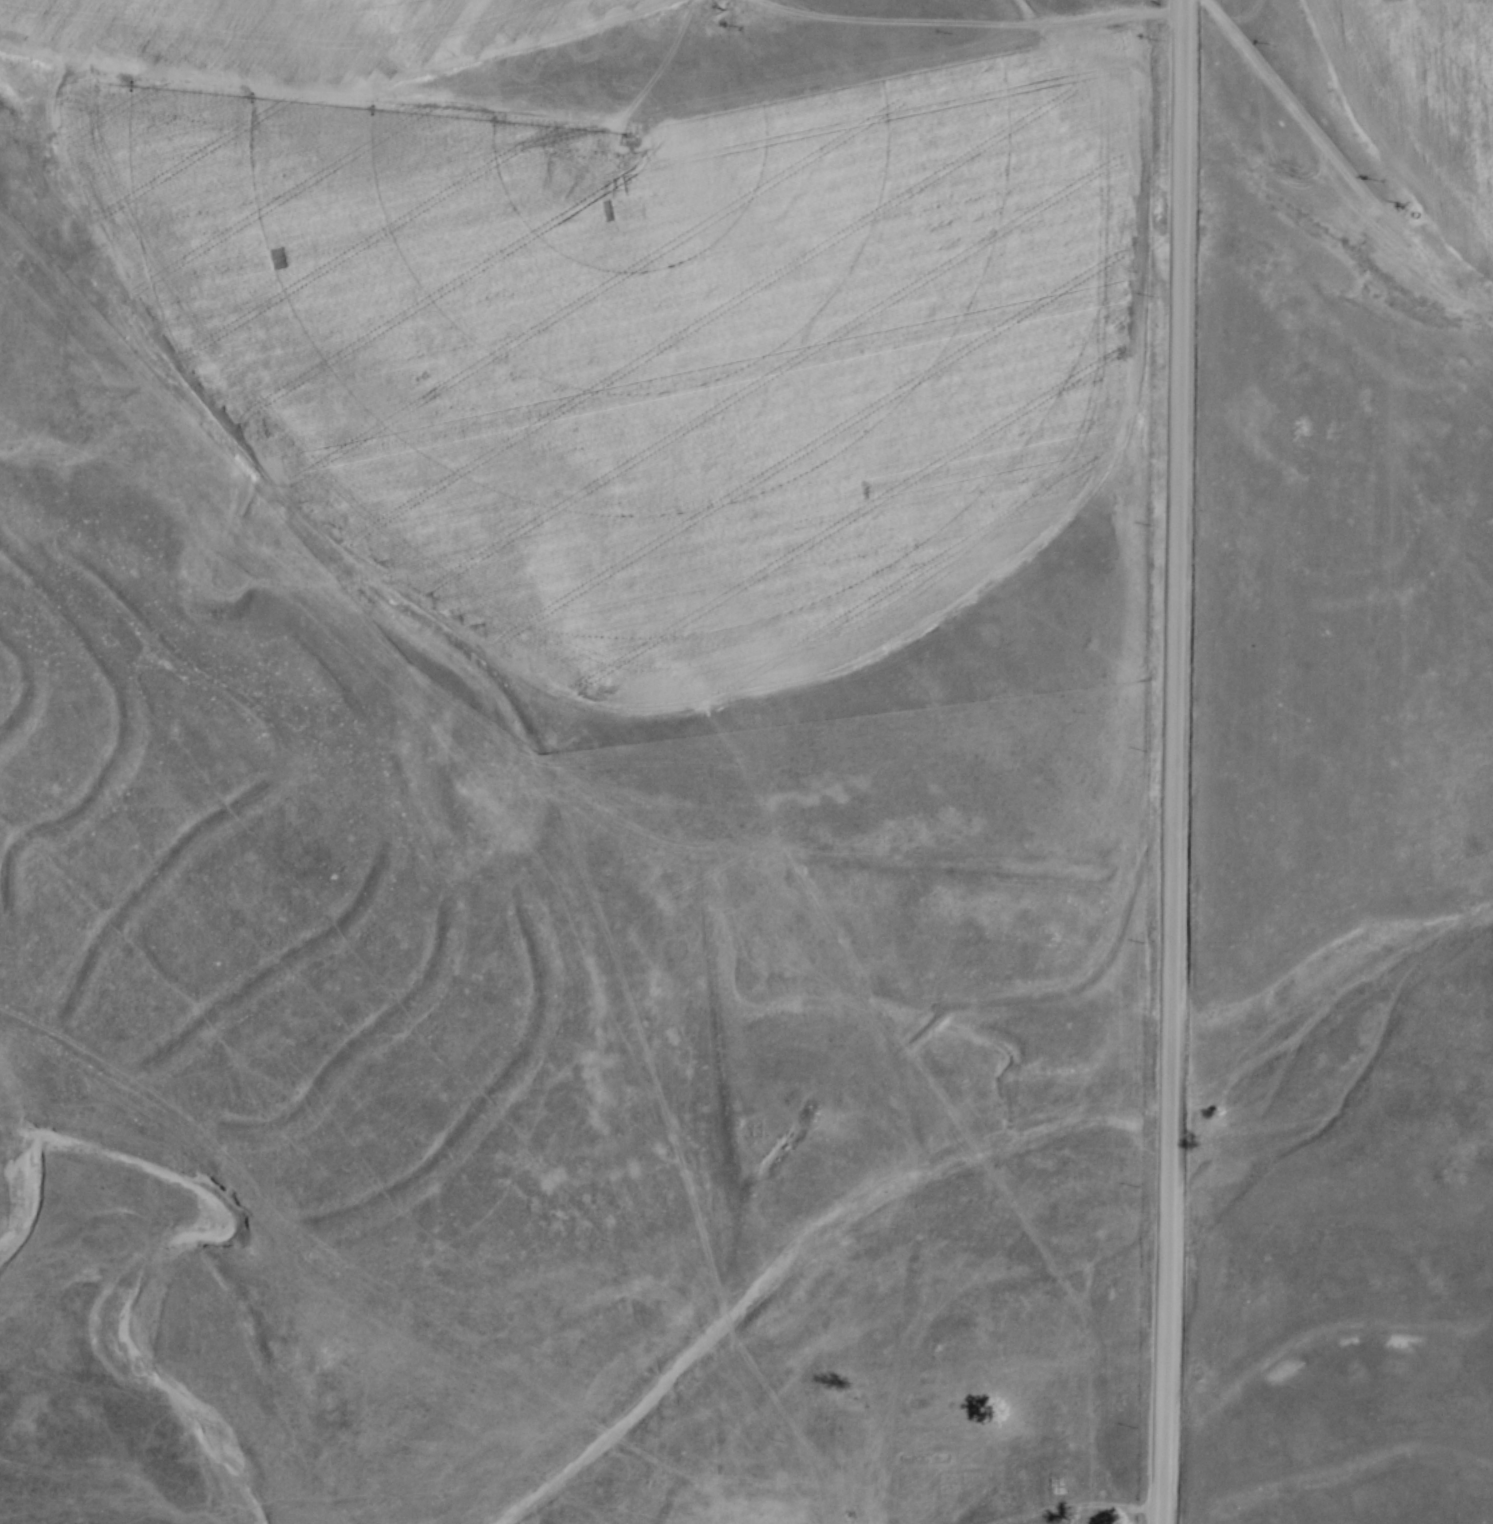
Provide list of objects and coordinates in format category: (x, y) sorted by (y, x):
road: (1178, 762)

